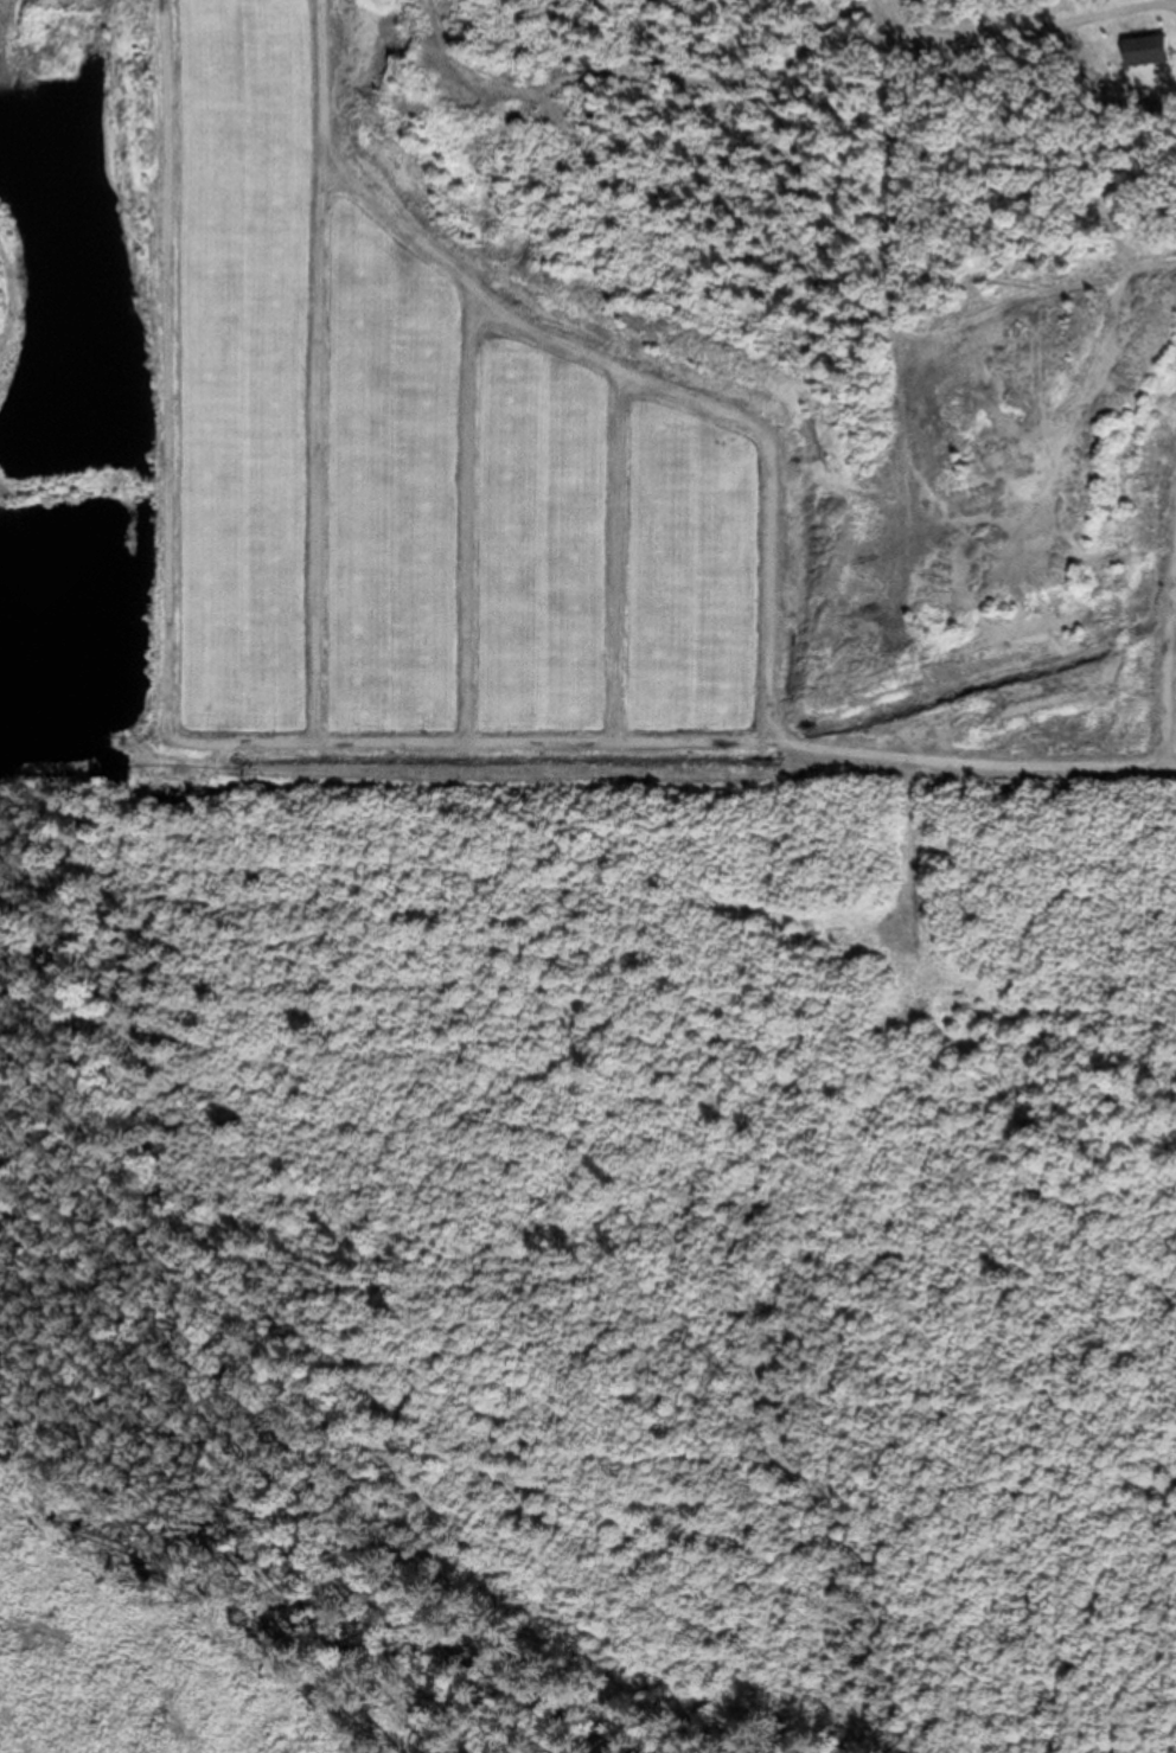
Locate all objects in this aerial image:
road: (1015, 25)

